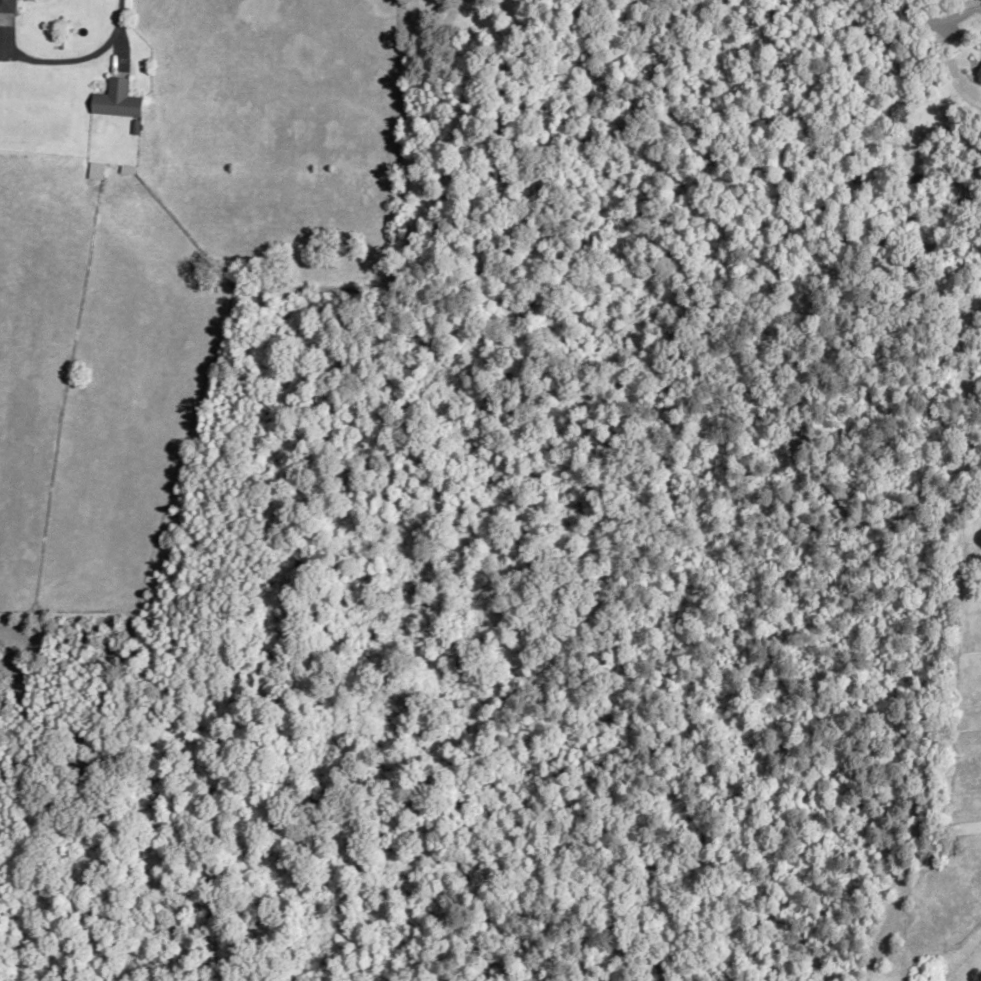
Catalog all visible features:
building: (6, 5)
road: (117, 15)
road: (929, 17)
building: (115, 100)

